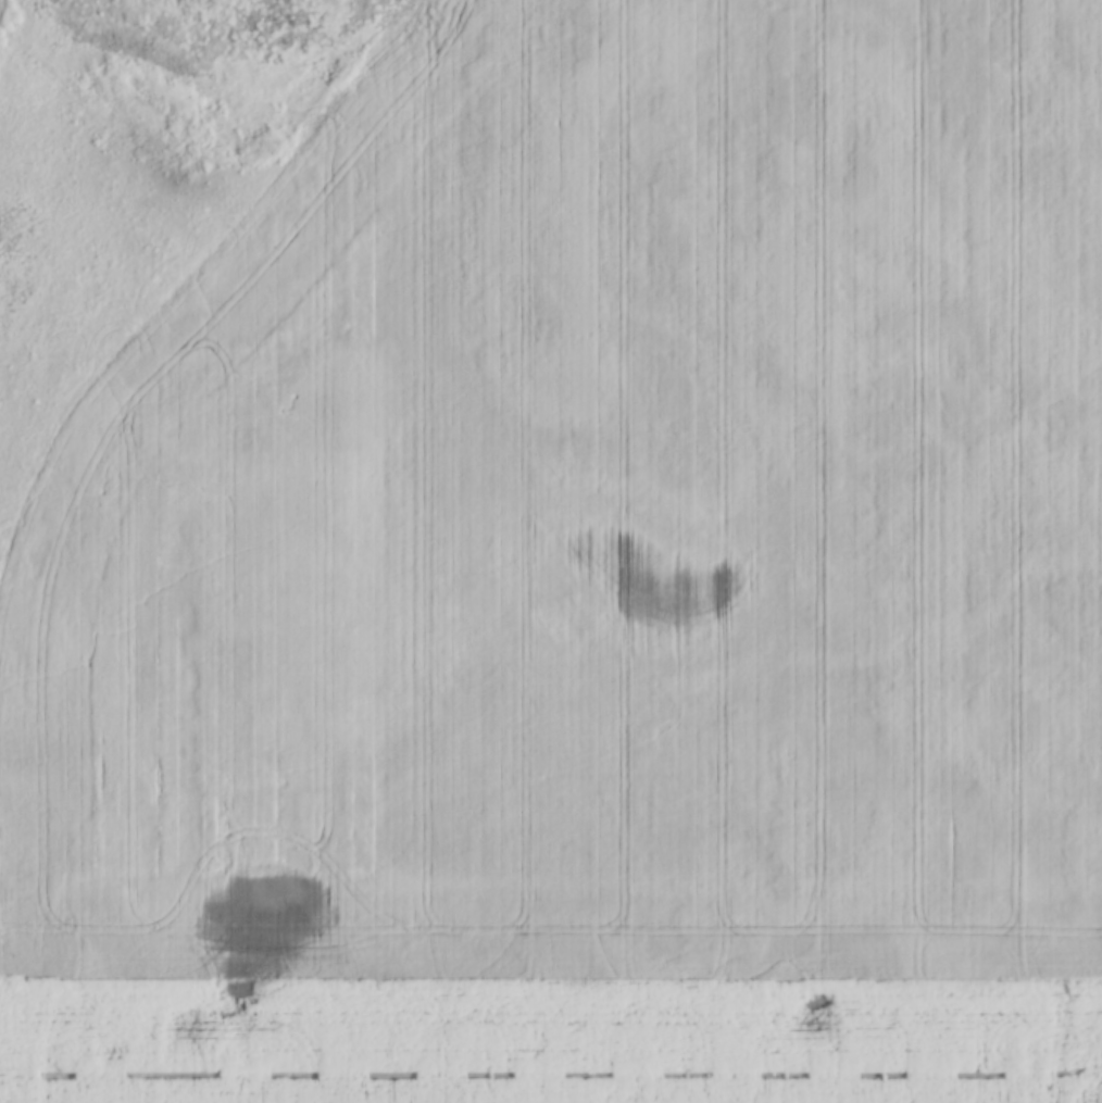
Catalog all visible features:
road: (550, 988)

